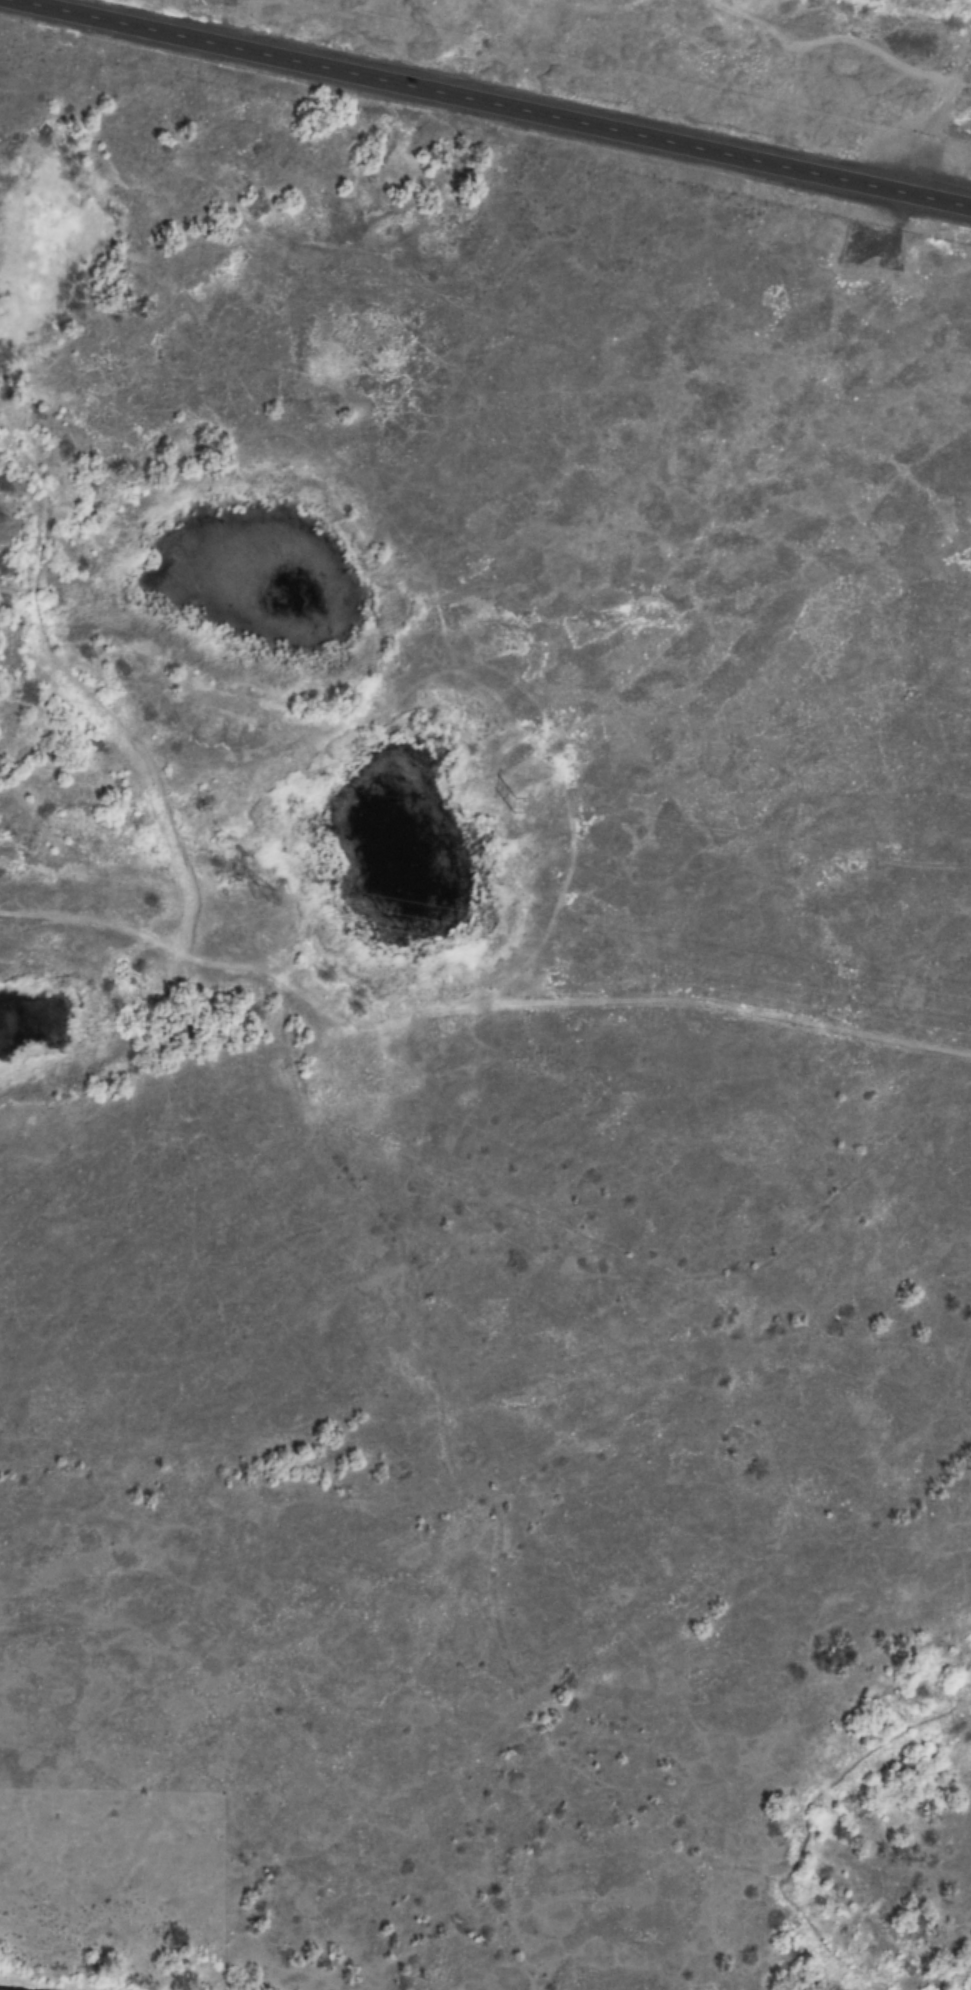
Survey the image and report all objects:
road: (485, 107)
power tower: (252, 888)

